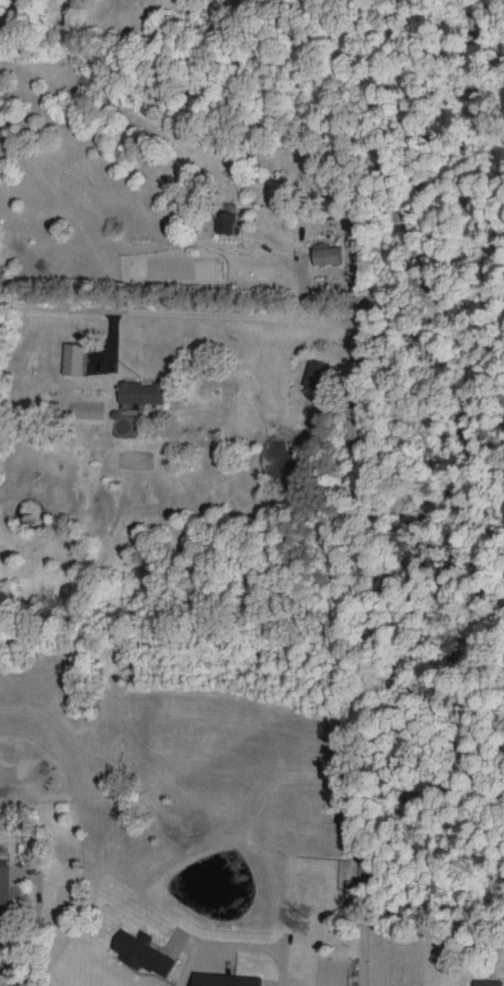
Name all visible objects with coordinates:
road: (8, 10)
building: (219, 218)
building: (317, 252)
road: (291, 270)
road: (149, 310)
building: (307, 371)
building: (132, 389)
building: (345, 419)
building: (0, 865)
road: (34, 872)
road: (240, 946)
building: (134, 949)
road: (13, 951)
building: (215, 979)
building: (477, 980)

